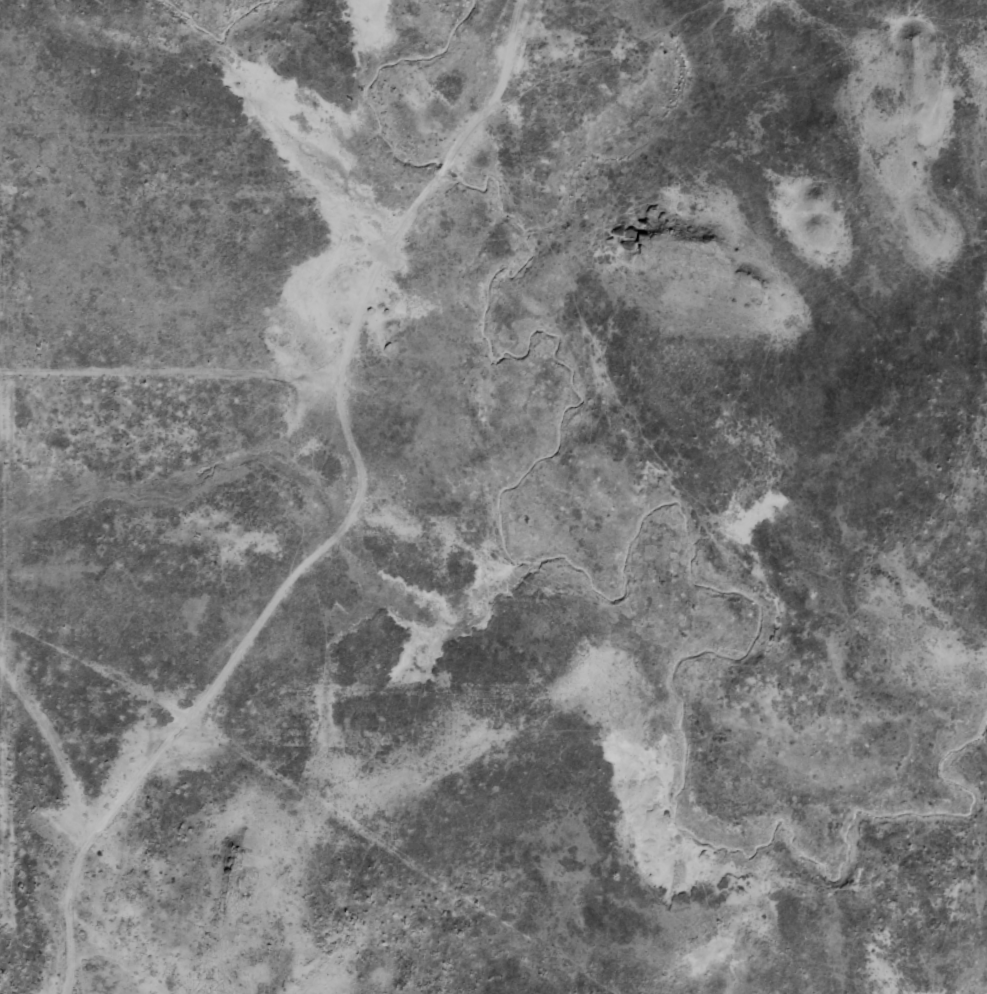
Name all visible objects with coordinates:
road: (347, 517)
road: (304, 991)

